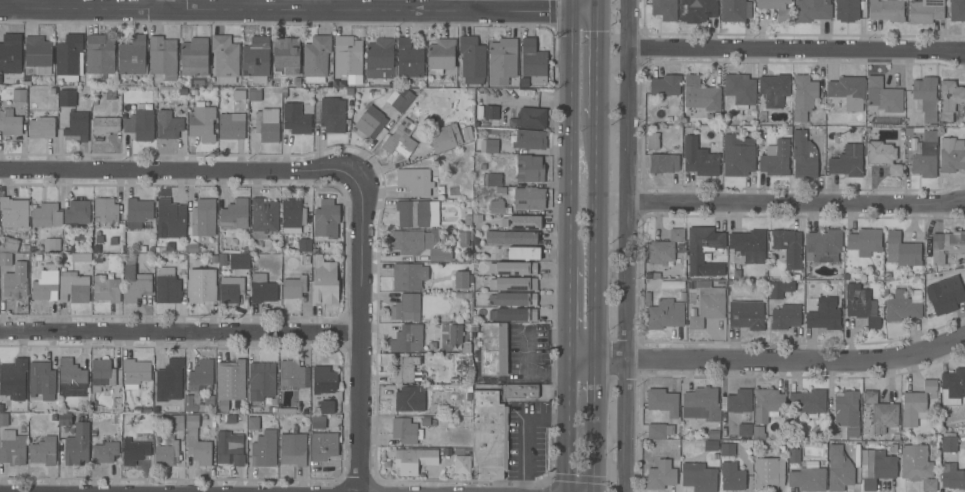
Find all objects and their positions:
road: (11, 4)
road: (169, 4)
road: (320, 4)
road: (469, 5)
road: (571, 6)
road: (596, 6)
road: (285, 8)
building: (664, 9)
building: (697, 10)
building: (735, 10)
building: (812, 10)
building: (849, 10)
building: (886, 10)
building: (957, 10)
building: (925, 11)
road: (583, 12)
building: (783, 15)
road: (798, 48)
building: (10, 54)
building: (37, 54)
building: (100, 54)
building: (68, 55)
building: (162, 55)
building: (286, 55)
building: (441, 55)
building: (132, 56)
building: (194, 57)
building: (225, 58)
building: (347, 58)
building: (379, 58)
building: (315, 59)
building: (409, 59)
building: (256, 60)
building: (472, 60)
building: (502, 61)
building: (532, 61)
road: (595, 66)
building: (297, 82)
building: (523, 83)
building: (665, 85)
building: (774, 89)
building: (740, 90)
building: (847, 92)
building: (110, 93)
building: (703, 94)
building: (19, 95)
building: (238, 95)
building: (254, 95)
building: (883, 96)
building: (803, 97)
building: (926, 97)
building: (66, 98)
building: (422, 99)
building: (949, 99)
building: (400, 100)
building: (434, 103)
building: (490, 112)
building: (332, 114)
building: (531, 118)
building: (296, 119)
building: (10, 122)
building: (202, 123)
building: (370, 123)
building: (77, 125)
building: (105, 125)
building: (140, 125)
building: (168, 125)
building: (231, 126)
building: (265, 126)
building: (42, 128)
building: (402, 138)
building: (444, 138)
road: (570, 139)
building: (529, 140)
building: (652, 141)
building: (489, 146)
building: (924, 155)
building: (951, 155)
building: (738, 156)
building: (804, 156)
building: (883, 157)
building: (699, 158)
building: (775, 158)
building: (846, 162)
building: (663, 163)
road: (177, 169)
building: (529, 169)
building: (417, 180)
building: (492, 180)
building: (500, 191)
building: (529, 198)
road: (797, 203)
building: (495, 206)
building: (108, 210)
building: (76, 212)
building: (14, 213)
building: (138, 213)
building: (412, 213)
building: (46, 215)
building: (234, 215)
building: (292, 216)
building: (203, 218)
building: (264, 218)
building: (476, 218)
building: (170, 219)
building: (326, 219)
building: (467, 221)
building: (522, 222)
building: (511, 237)
building: (463, 238)
road: (594, 239)
building: (475, 241)
building: (864, 241)
building: (418, 243)
building: (304, 244)
building: (9, 245)
building: (54, 245)
building: (749, 245)
building: (823, 245)
building: (946, 245)
road: (628, 246)
building: (701, 246)
building: (170, 247)
building: (788, 247)
building: (192, 249)
building: (31, 250)
building: (665, 250)
building: (902, 250)
building: (245, 251)
building: (252, 251)
building: (520, 253)
building: (37, 257)
building: (83, 257)
building: (475, 257)
building: (222, 260)
building: (239, 261)
building: (100, 264)
building: (513, 268)
building: (182, 272)
building: (11, 276)
building: (408, 276)
building: (471, 279)
building: (461, 280)
building: (324, 282)
building: (46, 284)
building: (135, 284)
building: (293, 284)
building: (513, 284)
building: (200, 285)
building: (73, 287)
building: (106, 287)
building: (779, 288)
building: (231, 289)
building: (262, 289)
building: (167, 290)
building: (945, 294)
building: (464, 296)
building: (513, 299)
building: (707, 304)
building: (859, 304)
building: (903, 305)
building: (406, 307)
road: (568, 312)
building: (663, 313)
building: (822, 313)
building: (512, 314)
building: (746, 315)
building: (785, 316)
road: (179, 331)
road: (358, 334)
building: (455, 334)
building: (407, 339)
building: (494, 349)
road: (767, 359)
building: (403, 368)
building: (135, 372)
building: (291, 373)
building: (13, 375)
building: (72, 375)
building: (101, 375)
building: (201, 376)
building: (169, 380)
building: (228, 380)
building: (261, 380)
building: (324, 380)
building: (42, 383)
road: (592, 385)
building: (952, 386)
building: (522, 390)
building: (409, 400)
building: (663, 401)
building: (737, 401)
building: (808, 402)
building: (701, 403)
building: (191, 404)
building: (766, 404)
building: (916, 404)
building: (92, 406)
building: (327, 407)
building: (1, 408)
building: (844, 411)
building: (289, 412)
building: (881, 413)
building: (54, 418)
building: (3, 419)
building: (64, 419)
building: (318, 422)
building: (173, 423)
building: (253, 423)
road: (567, 424)
building: (404, 430)
building: (659, 430)
building: (744, 430)
building: (757, 432)
building: (488, 435)
building: (713, 435)
building: (196, 442)
building: (948, 442)
building: (710, 445)
building: (77, 446)
building: (323, 446)
building: (12, 447)
building: (229, 448)
building: (264, 449)
building: (292, 449)
building: (727, 449)
building: (165, 450)
building: (43, 451)
building: (105, 452)
building: (134, 452)
road: (591, 452)
building: (793, 456)
building: (413, 460)
building: (461, 465)
building: (917, 466)
building: (876, 467)
building: (839, 469)
building: (768, 474)
building: (661, 475)
building: (732, 476)
building: (952, 476)
building: (698, 477)
building: (807, 479)

